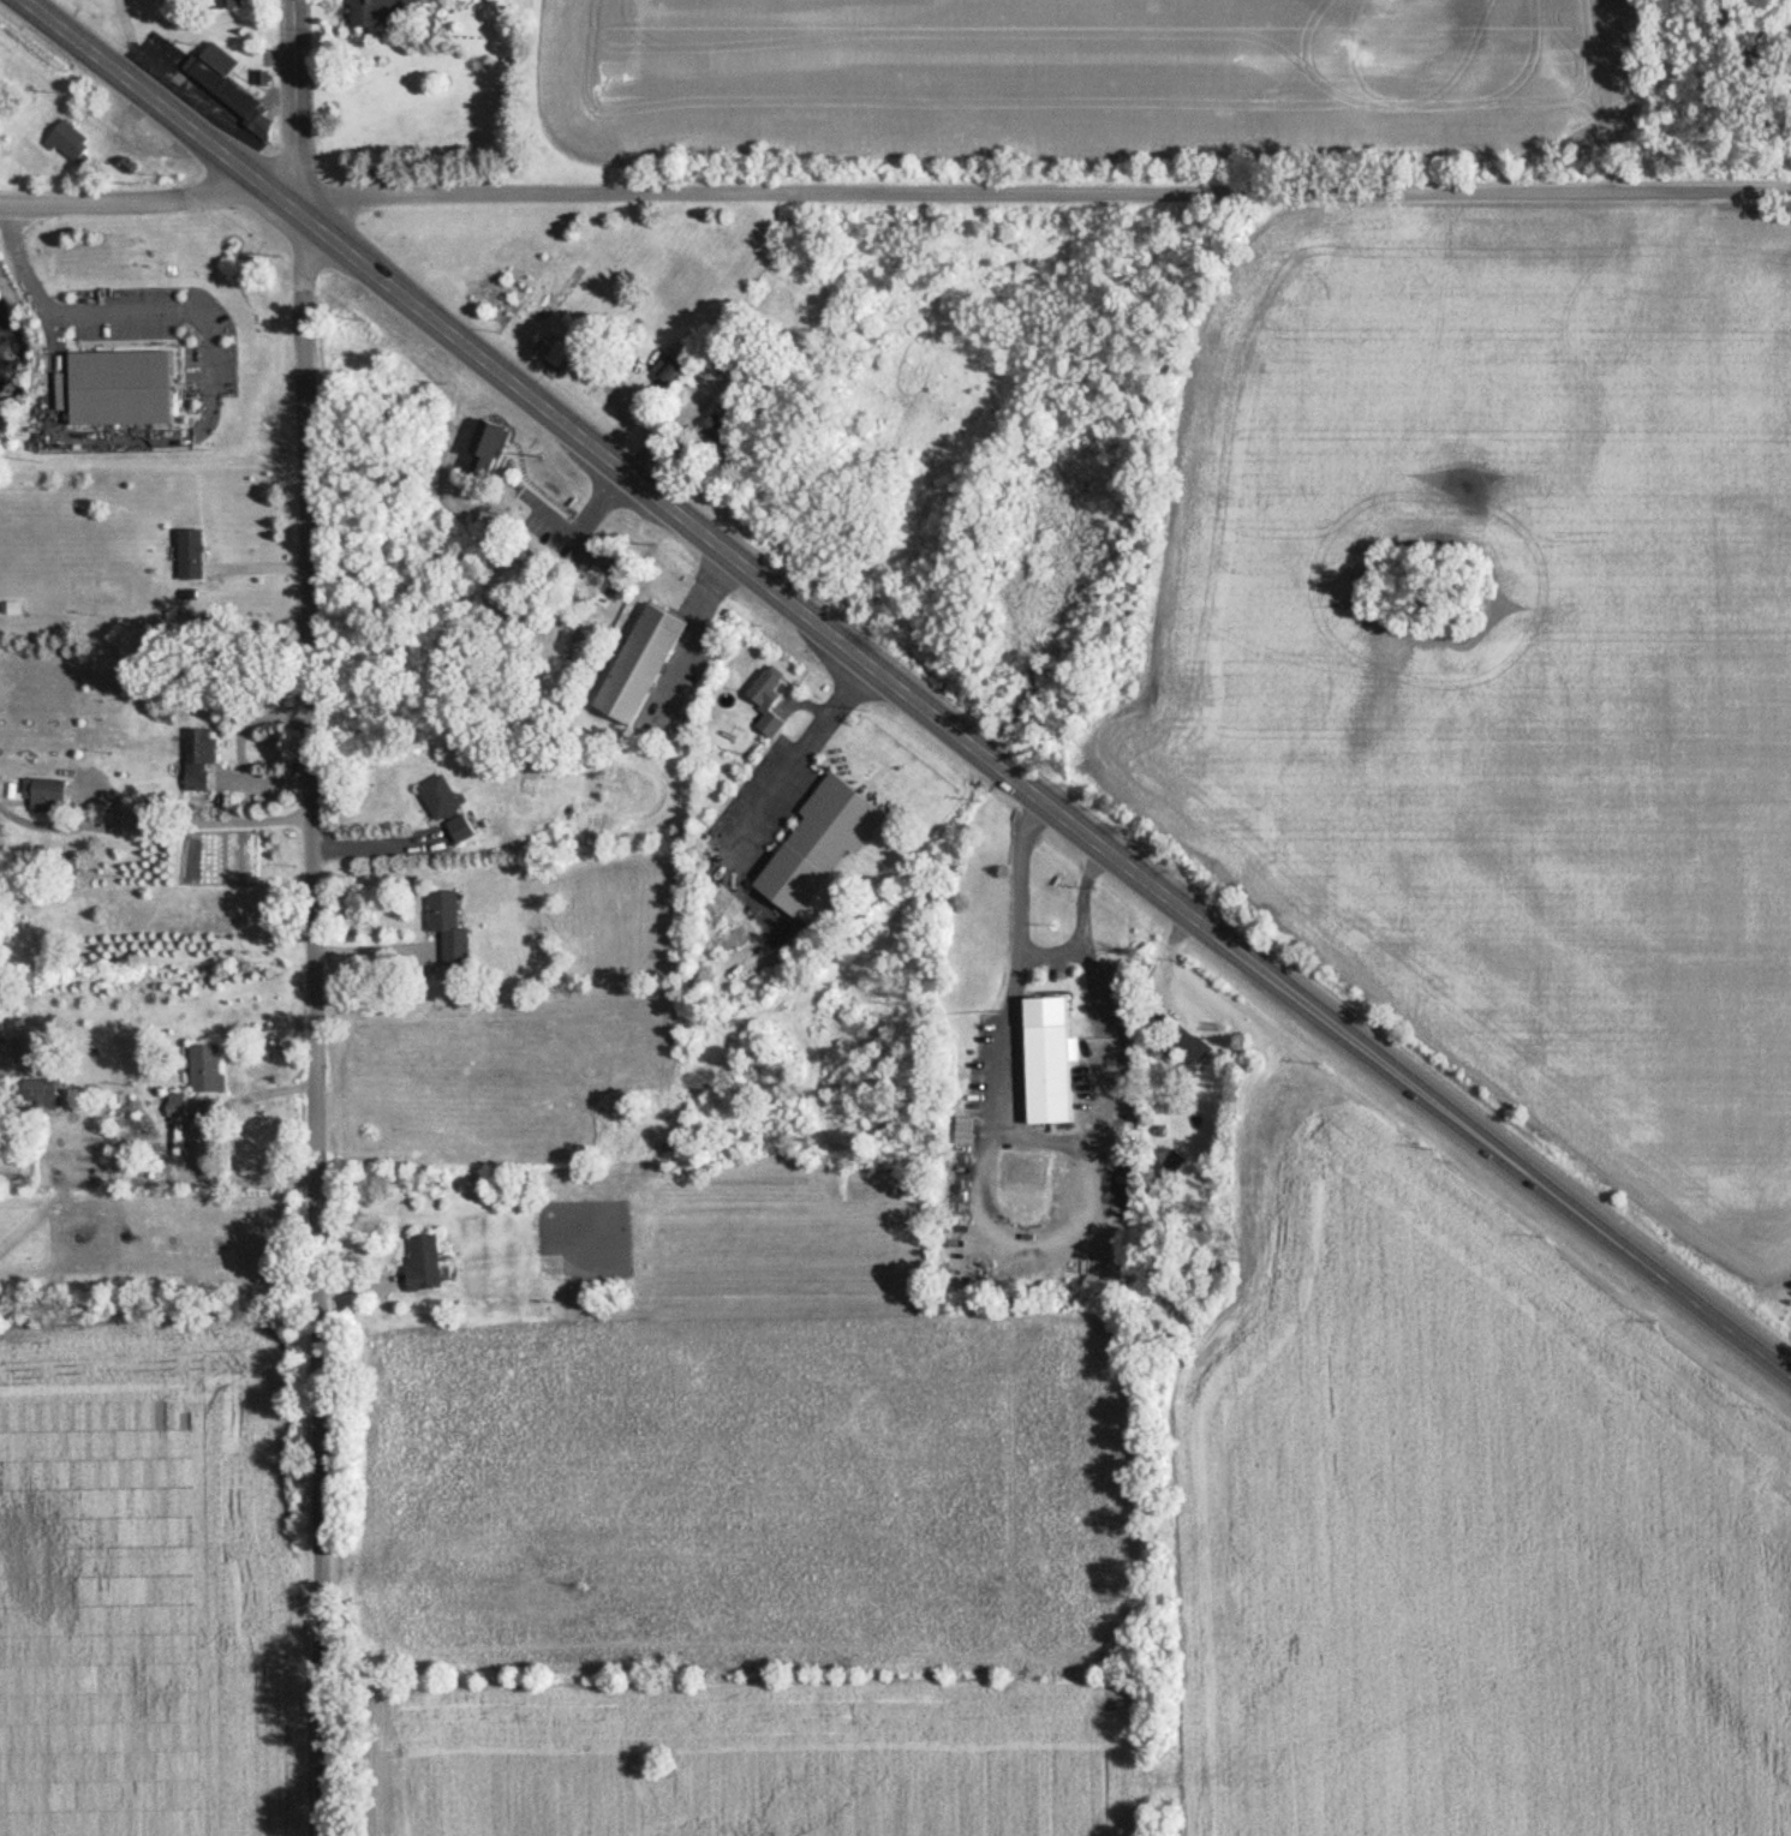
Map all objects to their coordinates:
building: (229, 4)
building: (376, 10)
building: (231, 86)
road: (895, 196)
building: (503, 295)
building: (556, 353)
road: (209, 366)
building: (667, 370)
building: (119, 388)
building: (715, 429)
building: (488, 441)
building: (191, 554)
road: (694, 628)
building: (639, 664)
road: (912, 683)
building: (768, 698)
road: (804, 743)
building: (198, 756)
building: (48, 795)
building: (440, 797)
road: (198, 825)
building: (460, 829)
road: (374, 842)
building: (819, 842)
road: (308, 917)
building: (449, 926)
road: (374, 946)
road: (1013, 963)
building: (1186, 1046)
building: (1047, 1058)
building: (207, 1069)
building: (40, 1089)
building: (175, 1105)
road: (196, 1142)
building: (424, 1261)

